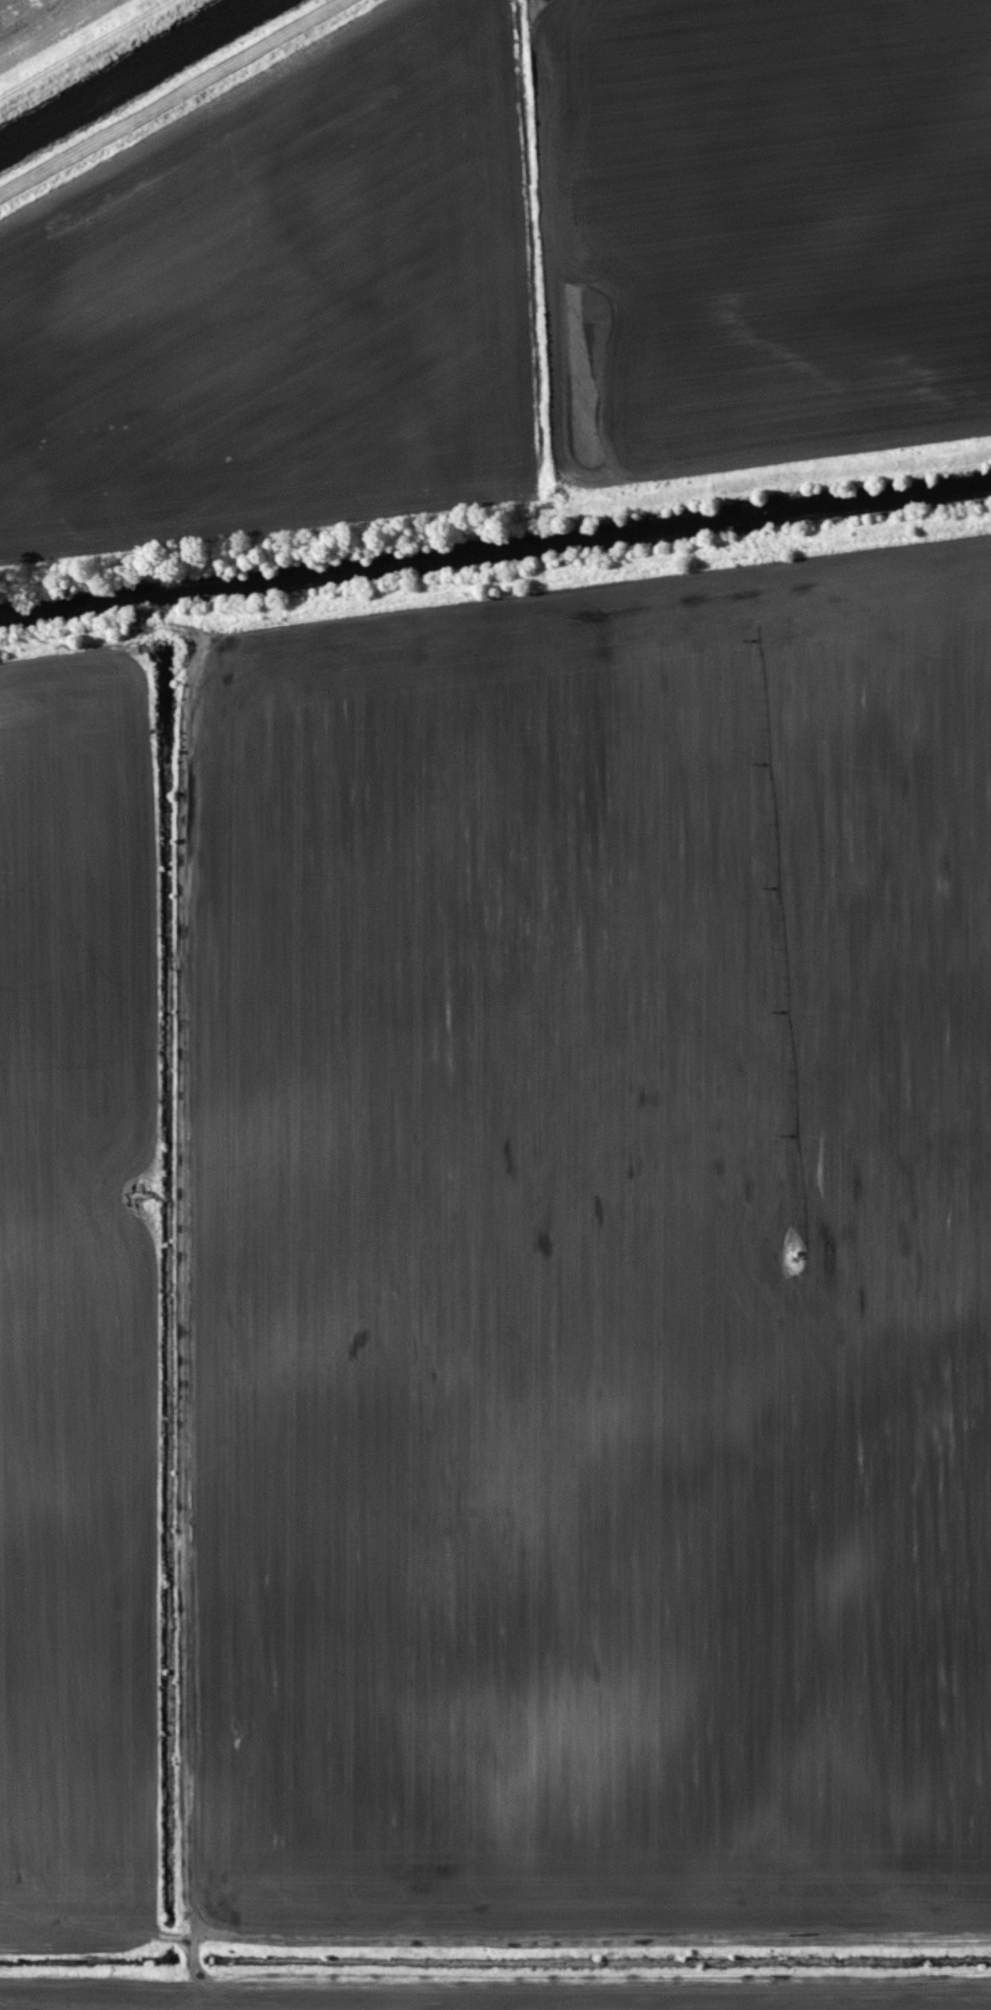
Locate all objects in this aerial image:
road: (194, 1583)

